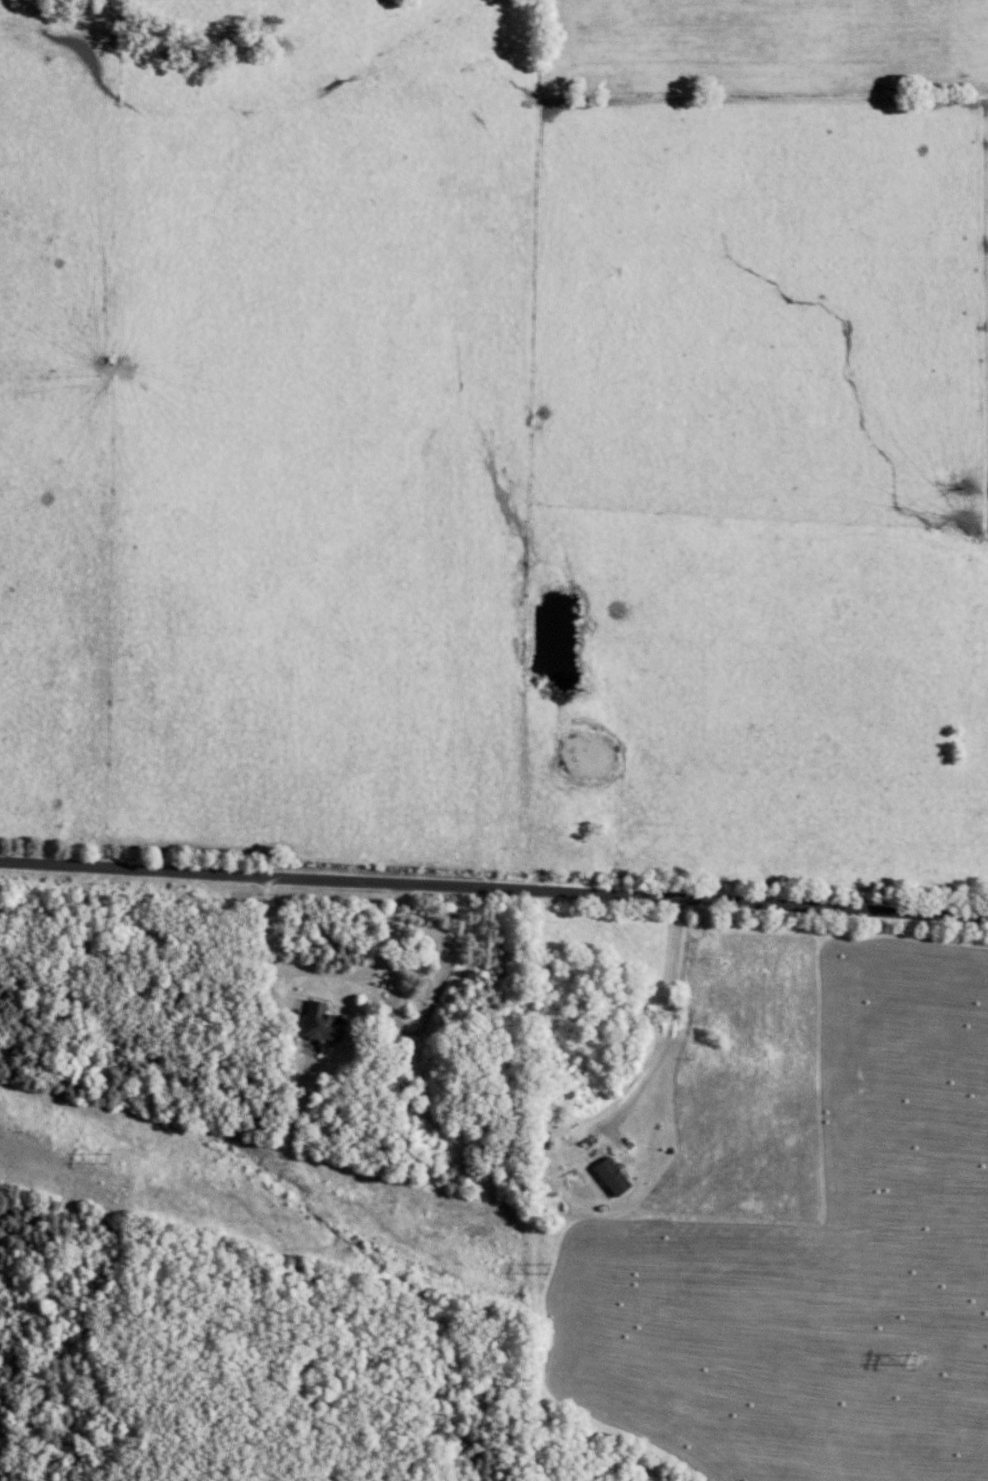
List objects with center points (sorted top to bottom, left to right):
road: (493, 890)
road: (347, 974)
building: (329, 1022)
power tower: (108, 1162)
building: (619, 1176)
power tower: (547, 1271)
power tower: (913, 1361)

